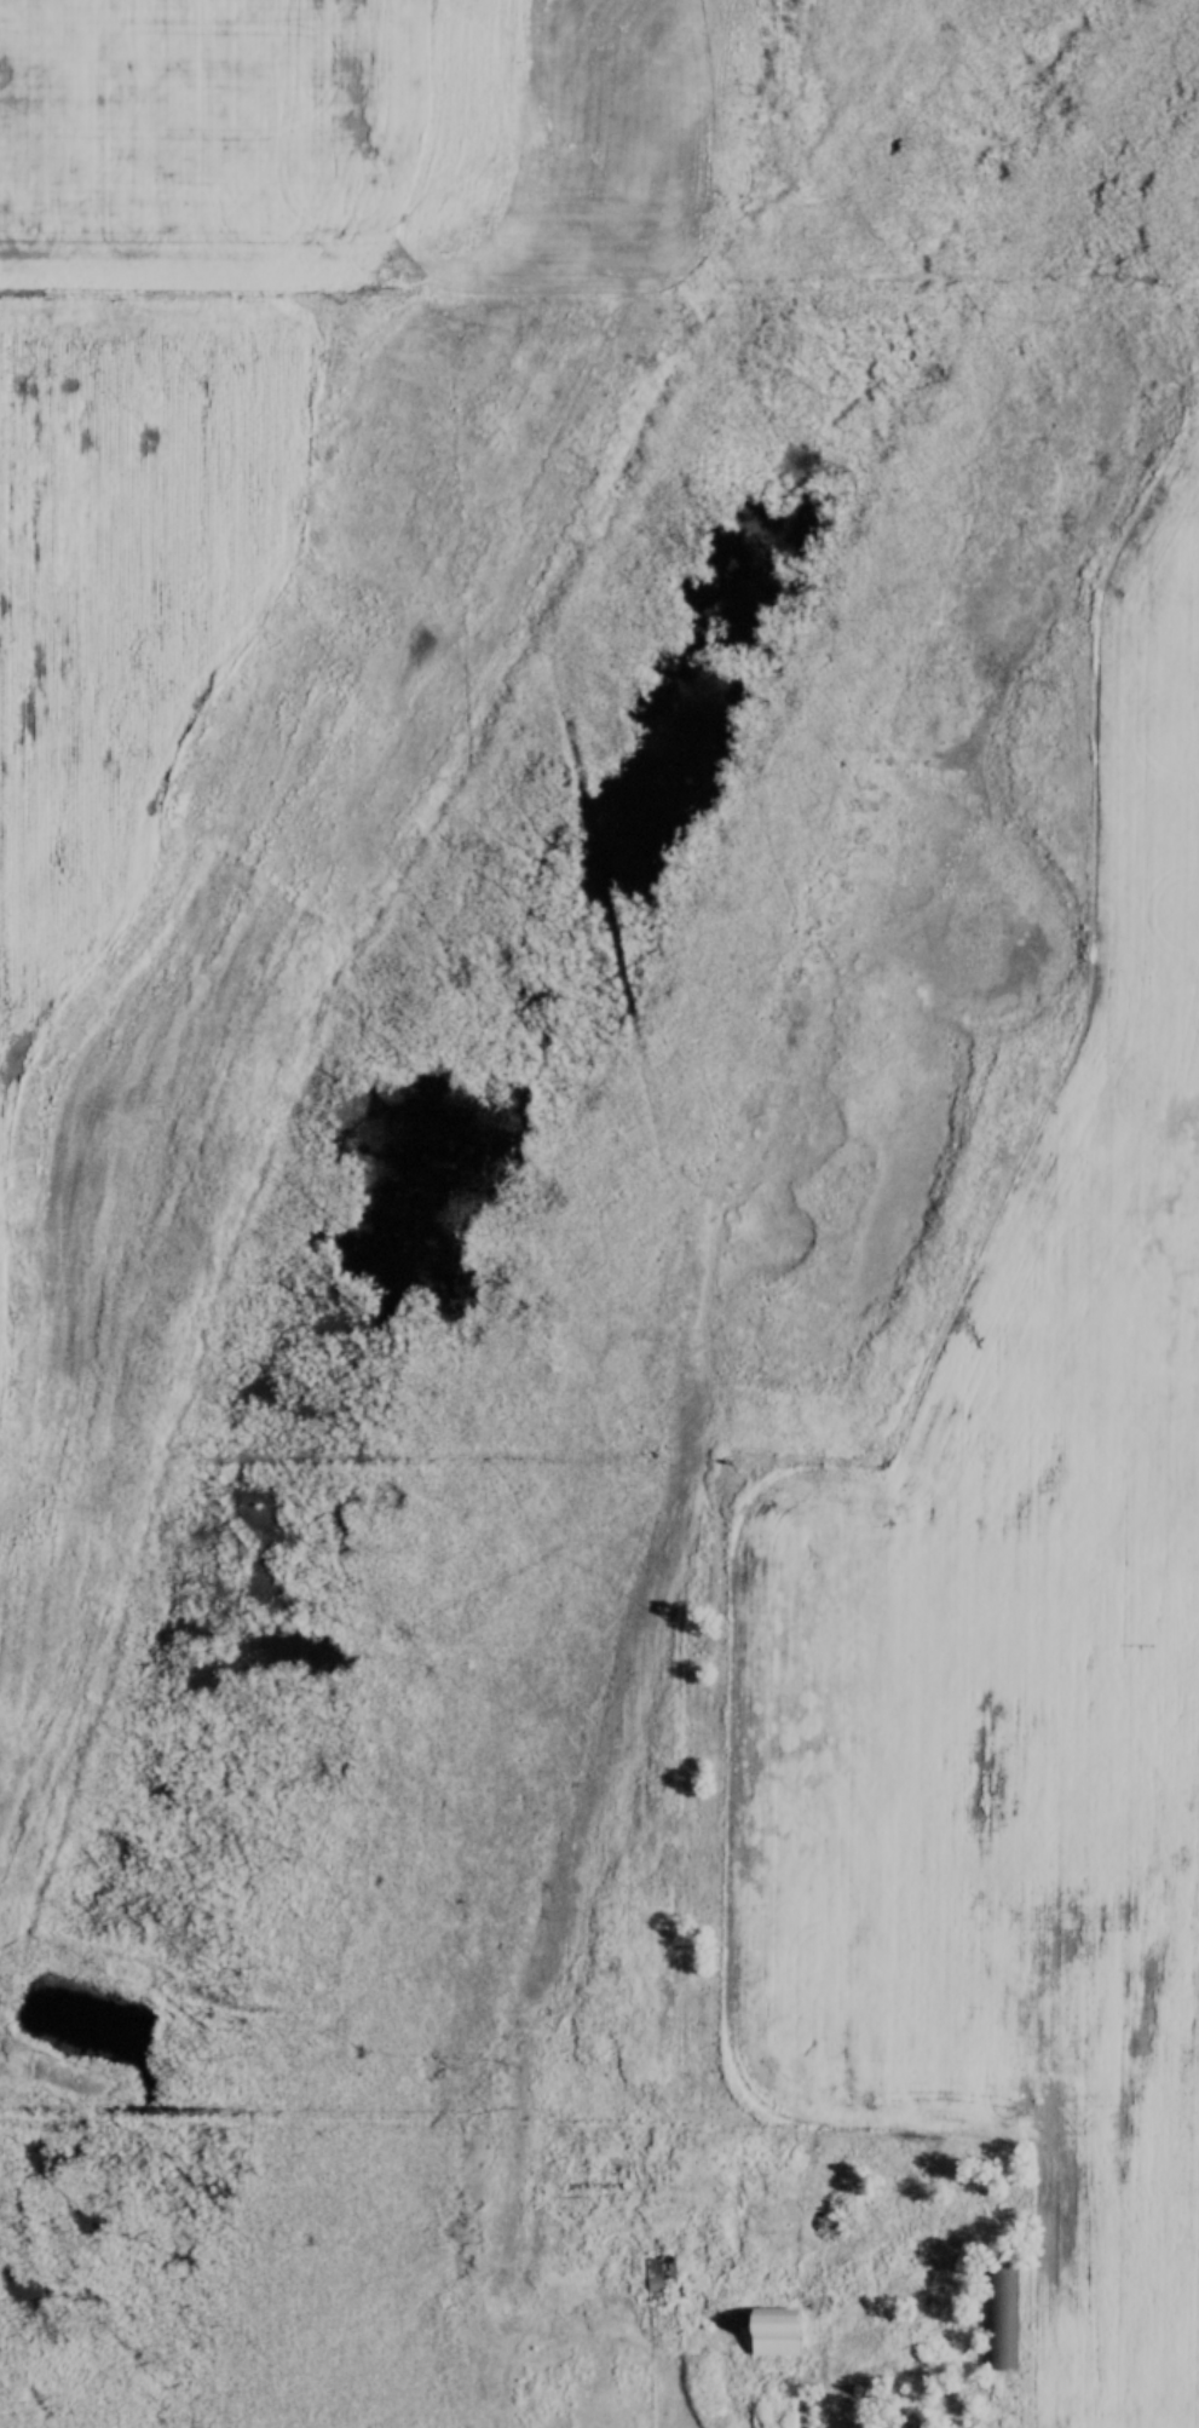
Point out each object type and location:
building: (656, 2273)
building: (998, 2315)
building: (779, 2331)

